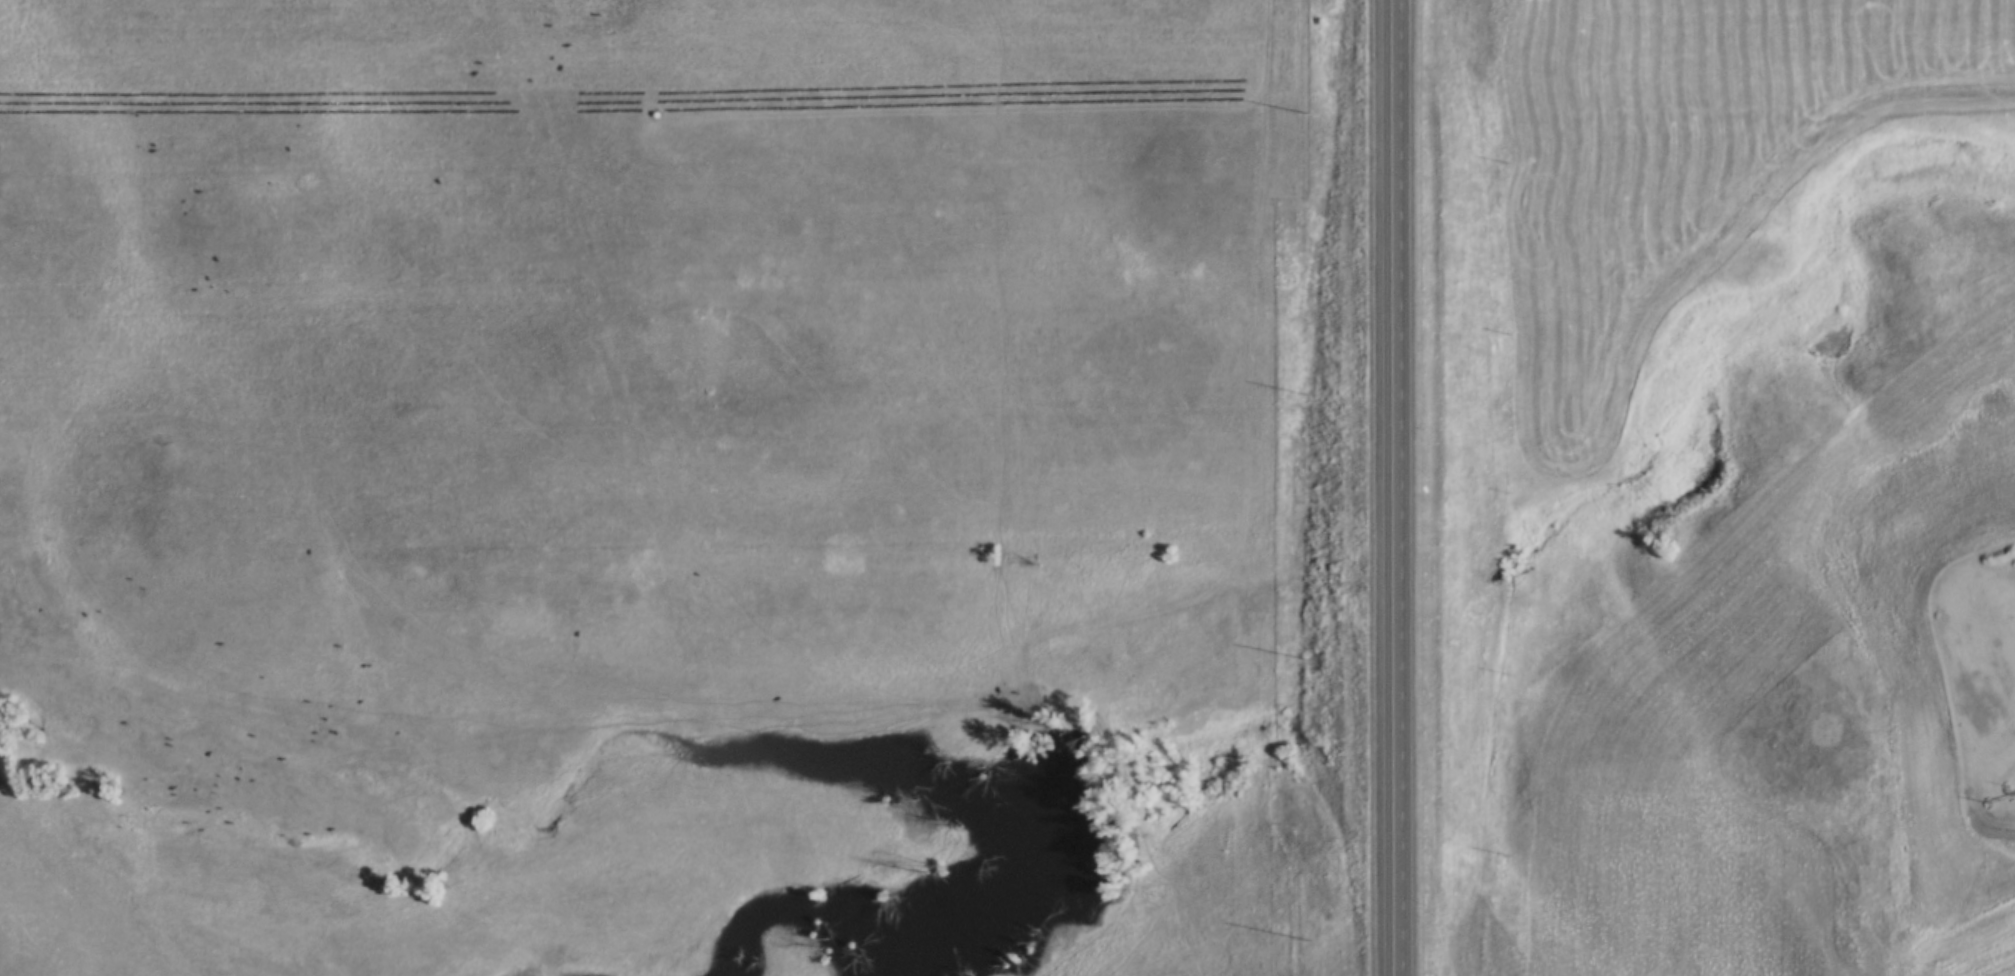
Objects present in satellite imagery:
road: (1393, 487)

